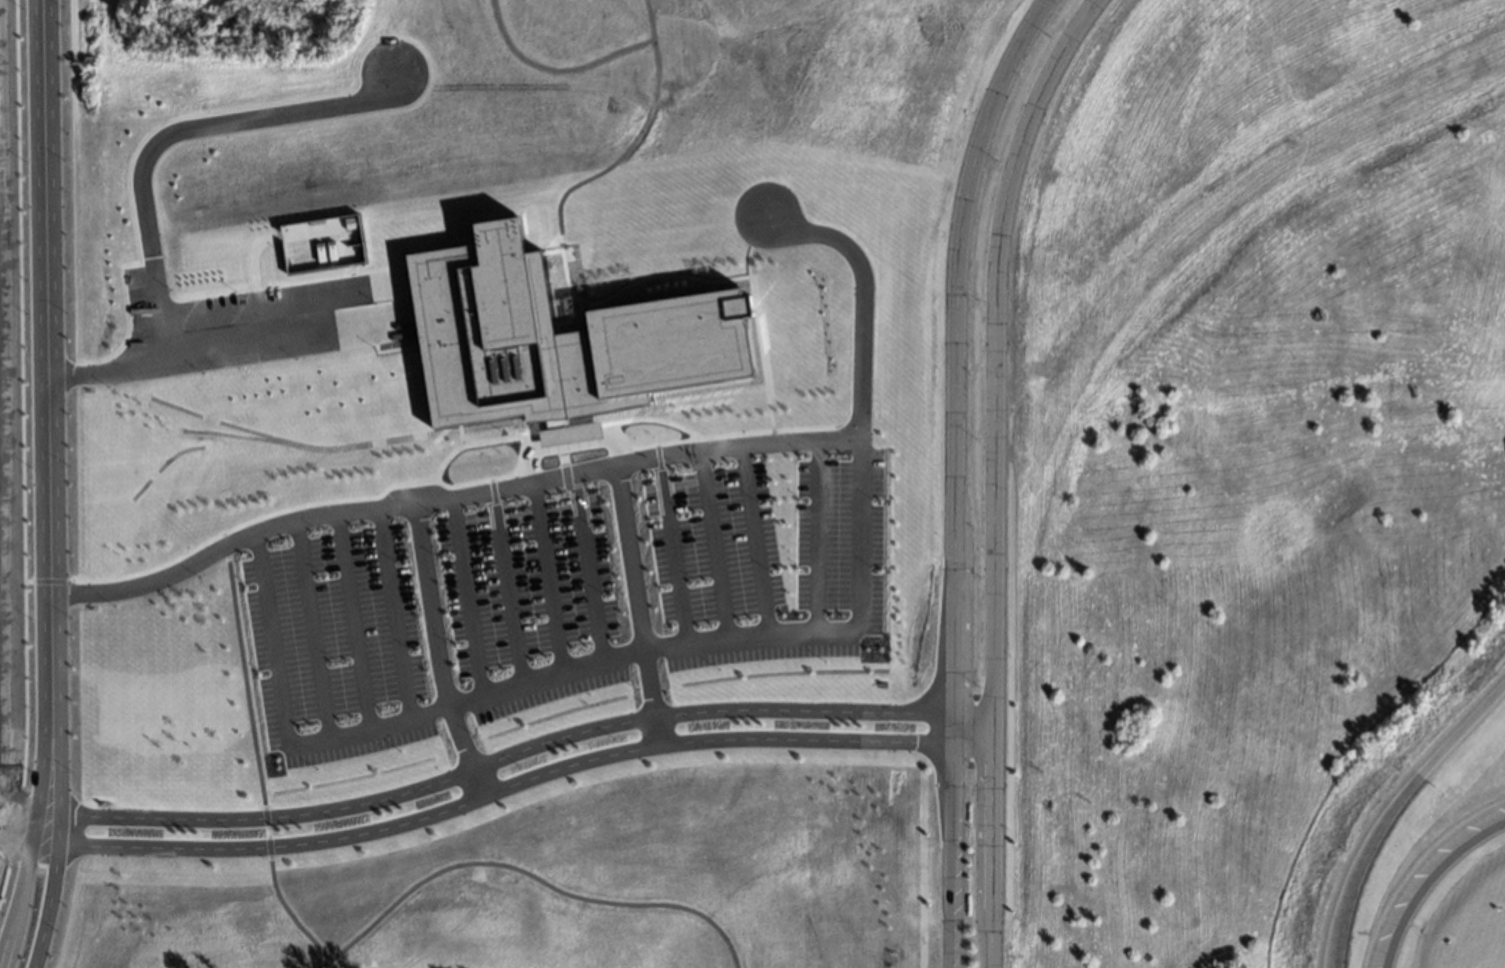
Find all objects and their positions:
road: (143, 169)
road: (959, 230)
road: (864, 292)
building: (559, 339)
road: (993, 347)
road: (46, 379)
road: (640, 456)
road: (378, 501)
road: (817, 534)
road: (753, 539)
road: (712, 542)
road: (671, 547)
road: (587, 562)
road: (547, 571)
road: (505, 580)
road: (465, 591)
road: (641, 604)
road: (393, 607)
road: (953, 612)
road: (351, 616)
road: (311, 625)
road: (555, 667)
road: (511, 756)
road: (522, 783)
road: (1389, 810)
road: (991, 841)
road: (29, 844)
road: (949, 856)
road: (25, 863)
road: (58, 864)
road: (1426, 880)
road: (953, 938)

